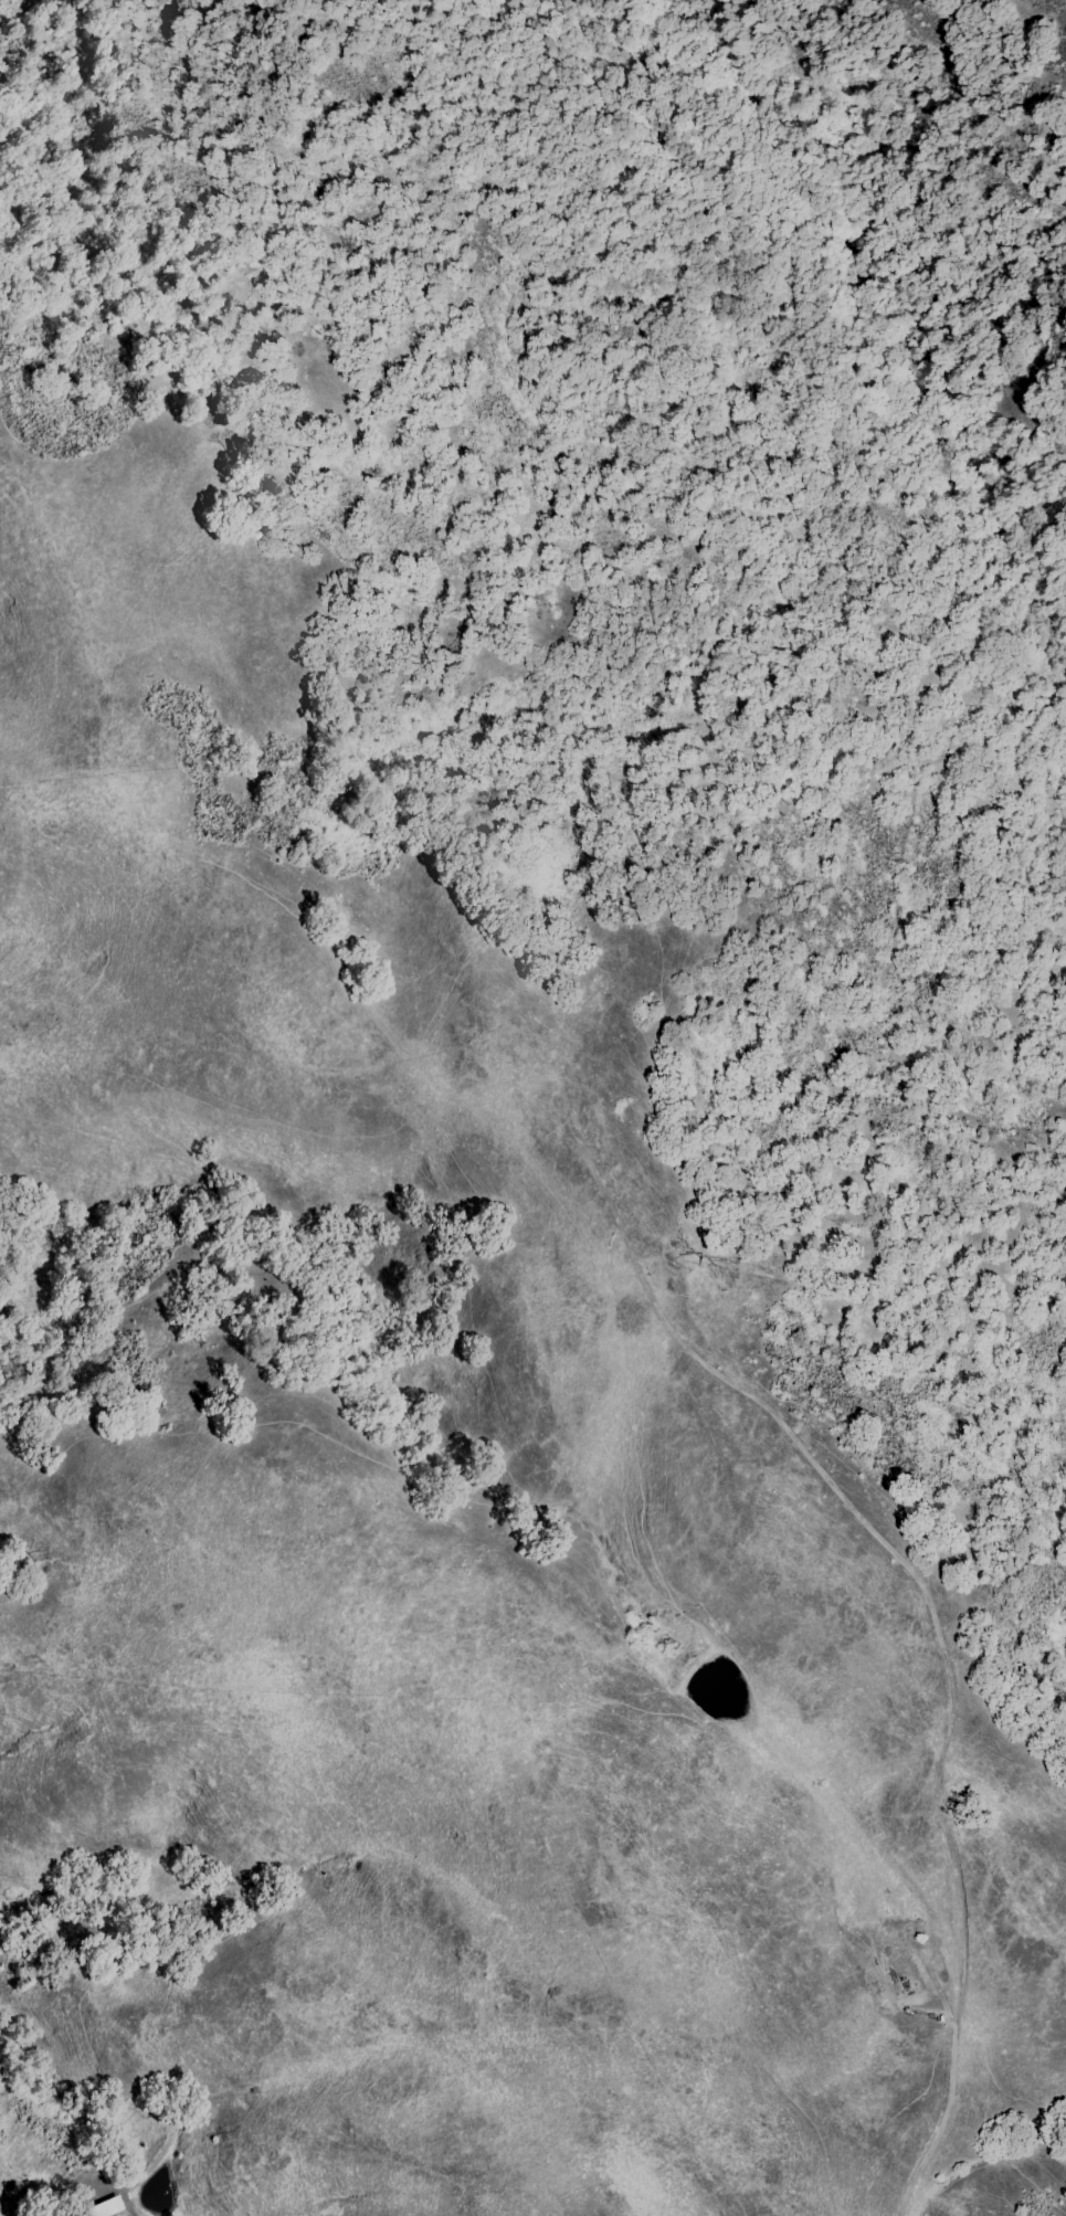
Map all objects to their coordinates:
building: (97, 2208)

